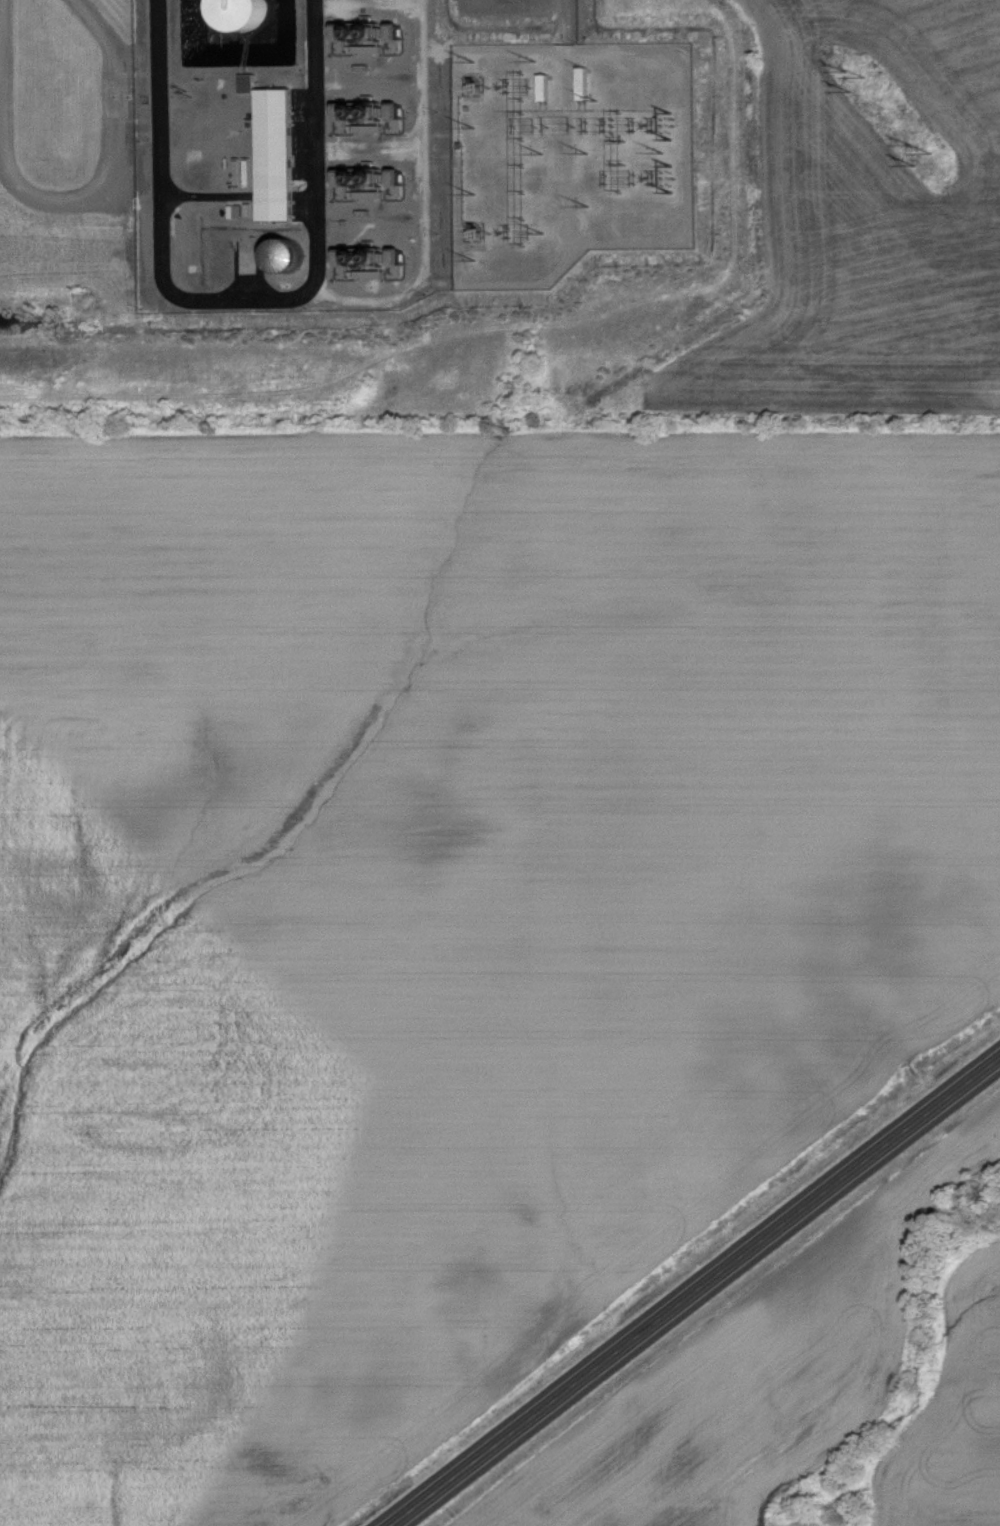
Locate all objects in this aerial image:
building: (243, 14)
chimney: (357, 34)
chimney: (374, 34)
building: (345, 36)
building: (248, 83)
chimney: (358, 113)
chimney: (375, 113)
building: (346, 115)
power plant: (301, 148)
power tower: (923, 151)
building: (275, 154)
power substation: (564, 155)
chimney: (359, 179)
chimney: (376, 180)
building: (354, 187)
road: (67, 199)
chimney: (360, 259)
chimney: (376, 259)
building: (347, 261)
road: (240, 305)
road: (694, 1292)

